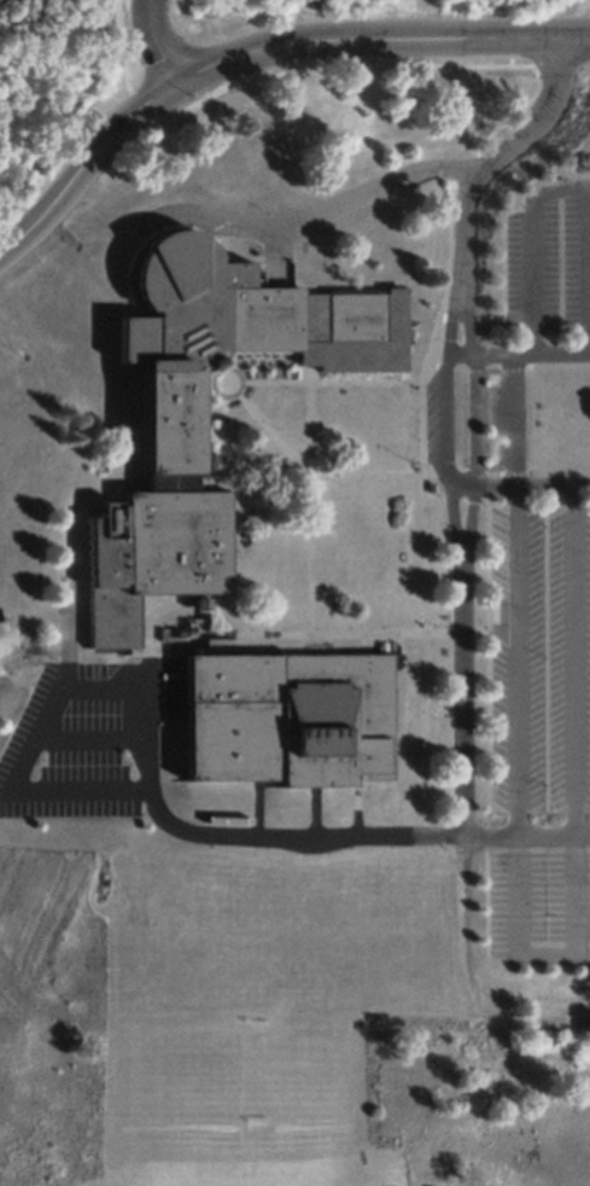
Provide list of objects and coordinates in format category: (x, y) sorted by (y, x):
road: (379, 39)
road: (154, 42)
road: (77, 52)
road: (500, 155)
road: (82, 162)
road: (314, 214)
road: (532, 245)
road: (271, 252)
parking lot: (549, 261)
road: (503, 272)
road: (588, 272)
road: (445, 300)
building: (180, 301)
road: (468, 316)
road: (486, 318)
building: (319, 326)
road: (461, 354)
road: (531, 354)
road: (405, 360)
road: (507, 366)
road: (323, 380)
road: (449, 382)
building: (169, 417)
parking lot: (439, 417)
road: (474, 419)
parking lot: (506, 419)
road: (512, 419)
road: (262, 422)
road: (222, 444)
road: (405, 473)
road: (462, 486)
road: (531, 486)
road: (310, 498)
road: (452, 517)
road: (469, 518)
building: (159, 539)
building: (112, 617)
road: (349, 634)
road: (310, 638)
road: (320, 638)
road: (487, 643)
road: (364, 644)
road: (311, 650)
road: (320, 650)
road: (111, 668)
road: (462, 708)
building: (288, 717)
road: (572, 720)
parking lot: (539, 734)
parking lot: (89, 738)
road: (90, 739)
road: (513, 757)
road: (22, 762)
road: (257, 798)
road: (356, 807)
road: (312, 810)
road: (299, 835)
road: (486, 895)
park: (240, 1107)

